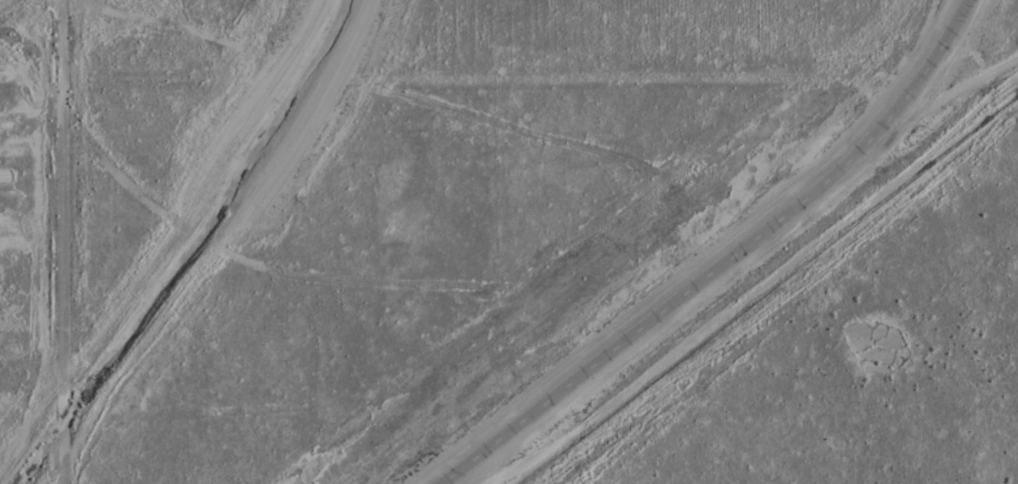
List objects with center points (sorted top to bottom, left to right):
road: (724, 261)

